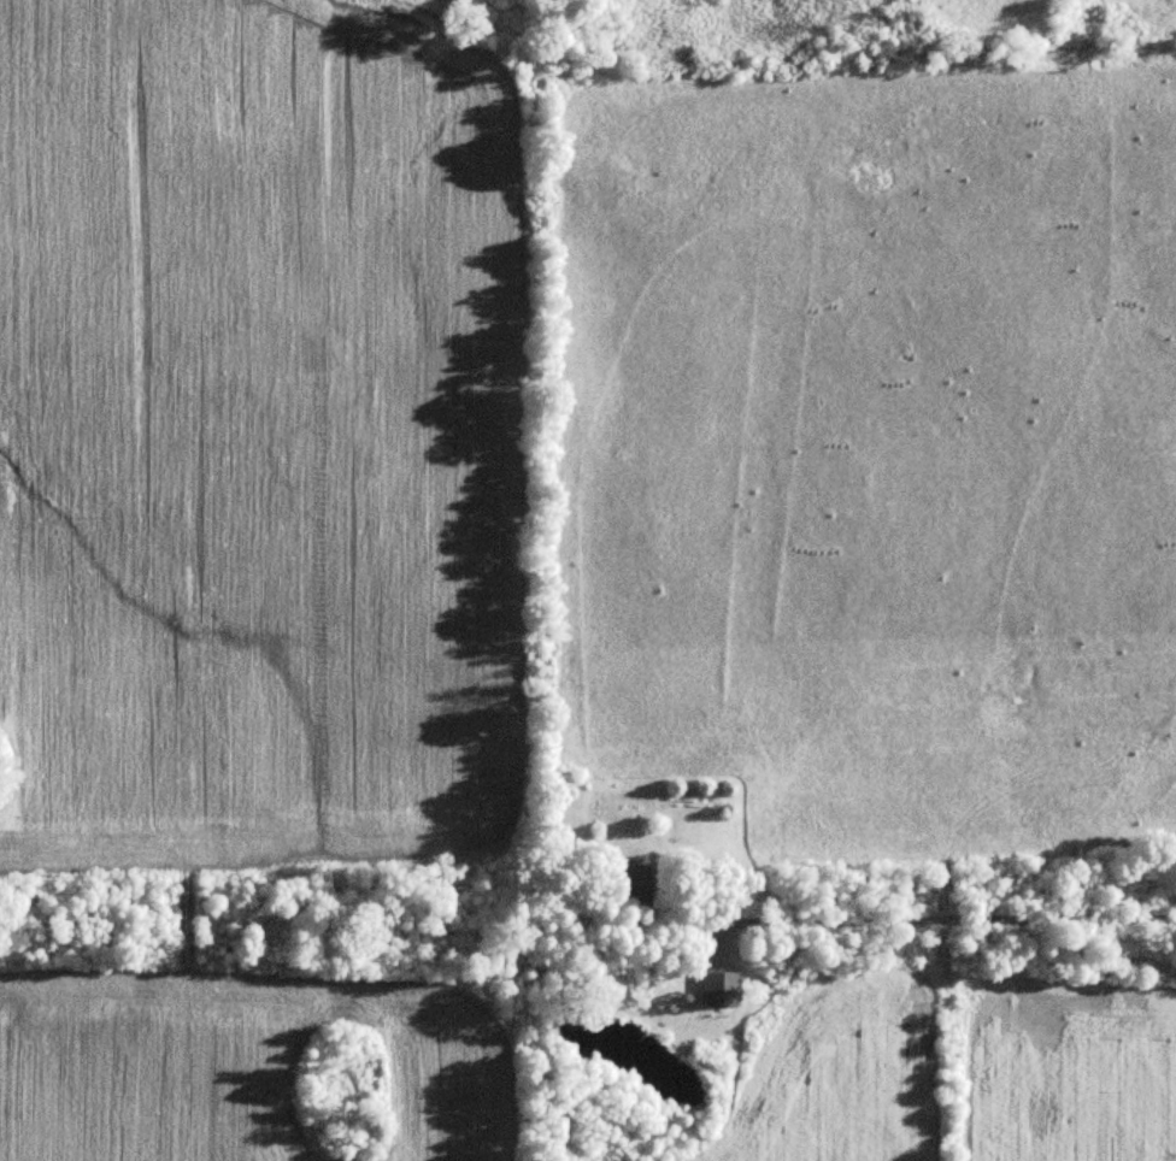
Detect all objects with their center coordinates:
crop: (874, 462)
building: (629, 885)
road: (925, 918)
building: (716, 990)
crop: (964, 1068)

